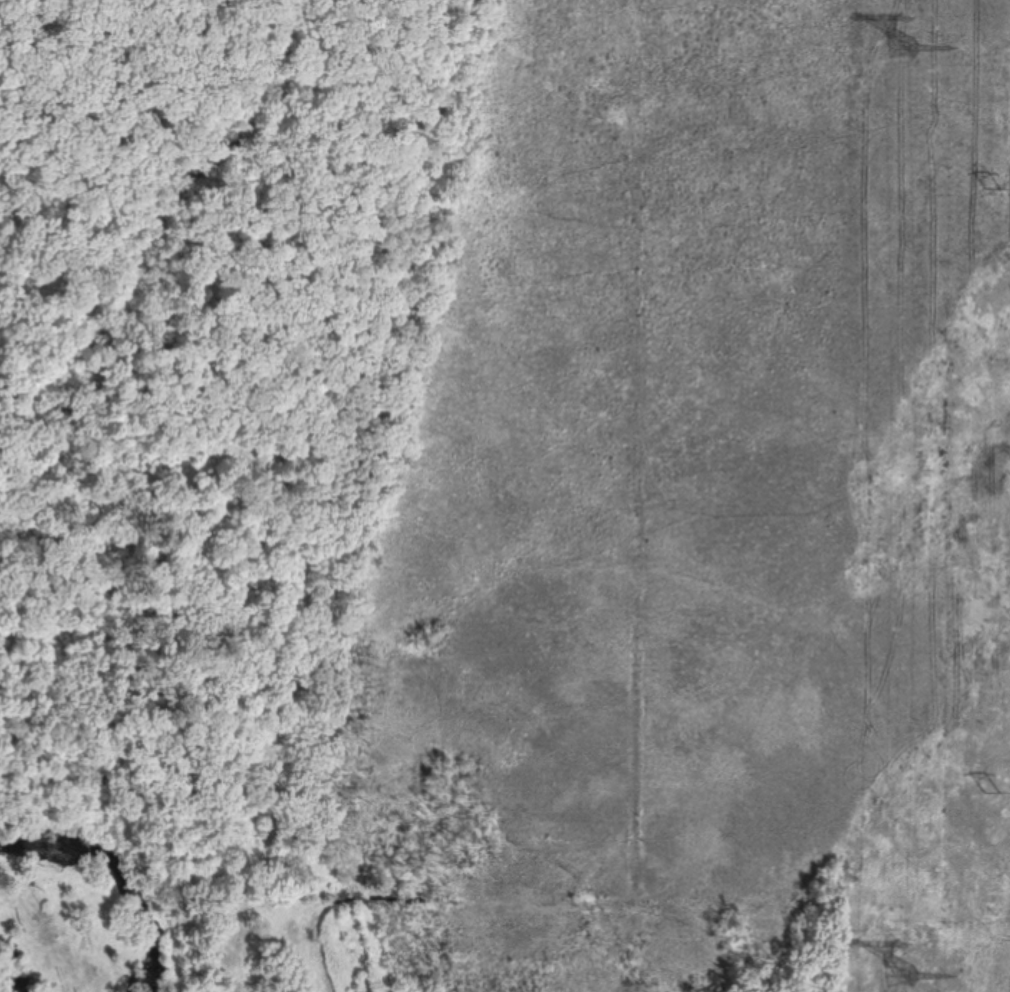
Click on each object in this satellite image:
power tower: (903, 64)
power tower: (995, 191)
power tower: (994, 794)
power tower: (902, 978)

